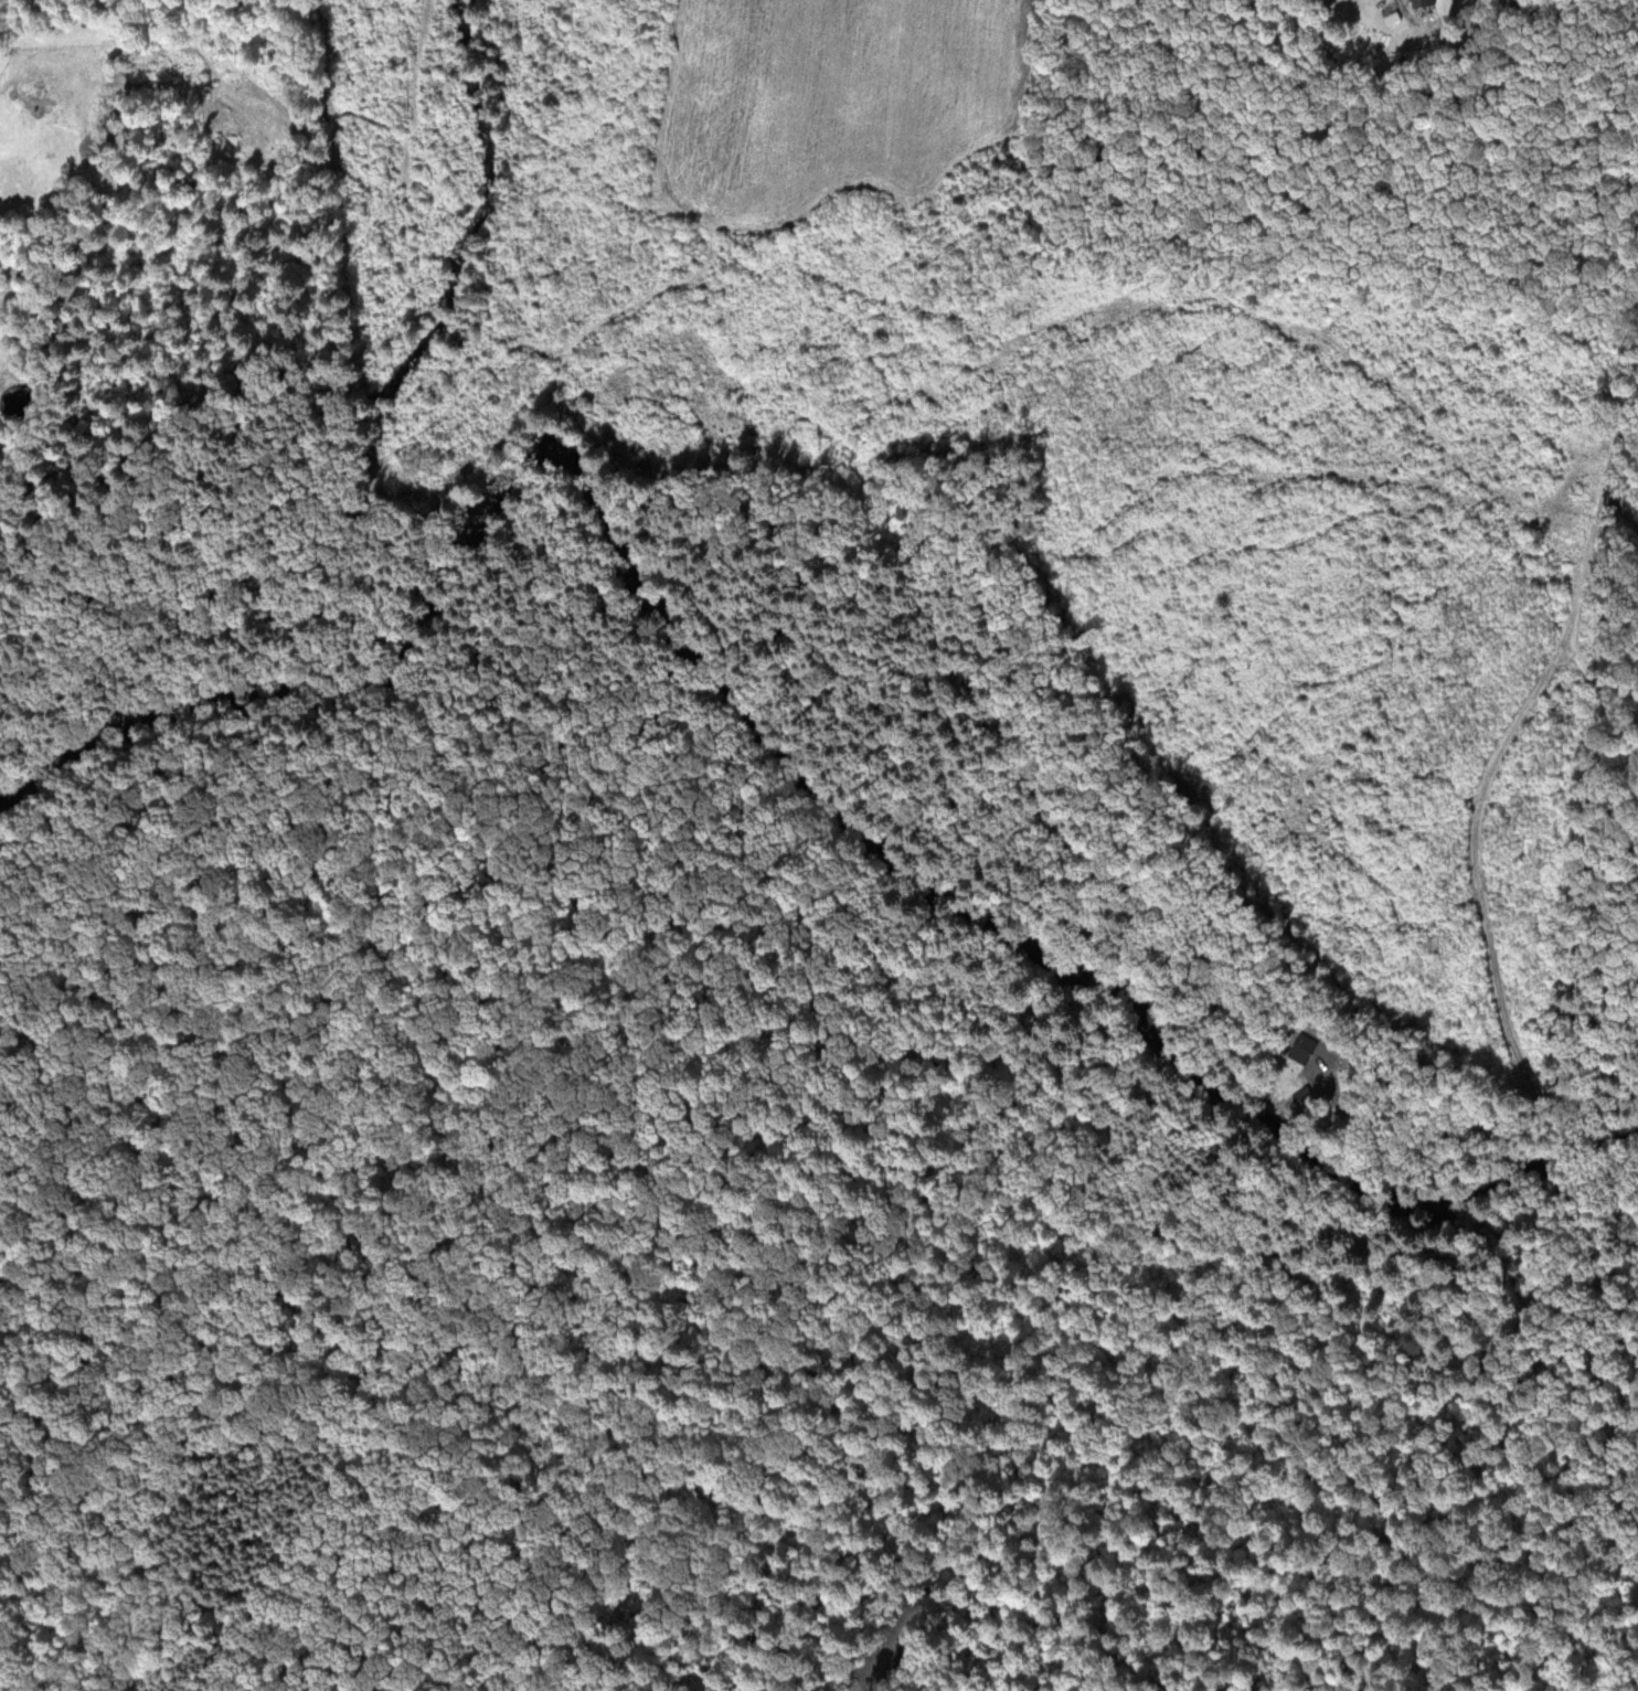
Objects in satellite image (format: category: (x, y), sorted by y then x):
road: (86, 22)
river: (770, 713)
building: (1298, 1045)

